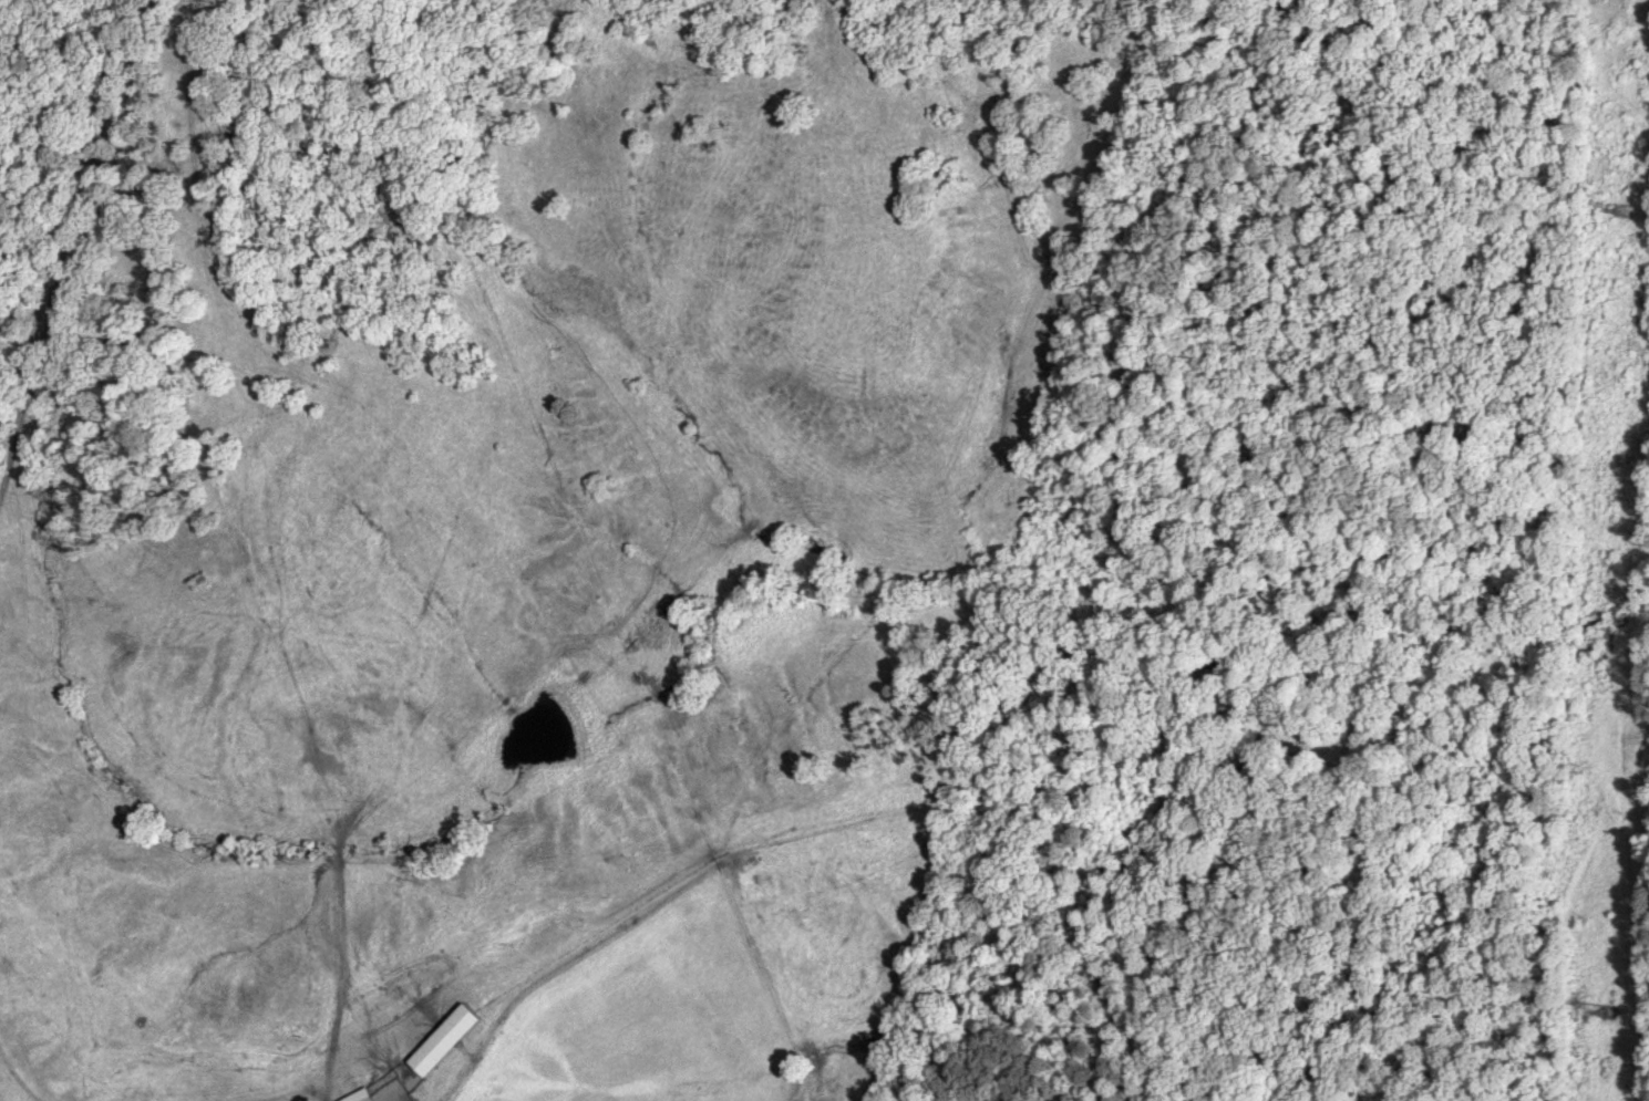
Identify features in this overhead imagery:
power tower: (1624, 205)
power tower: (1608, 1005)
road: (303, 1089)
building: (360, 1095)

